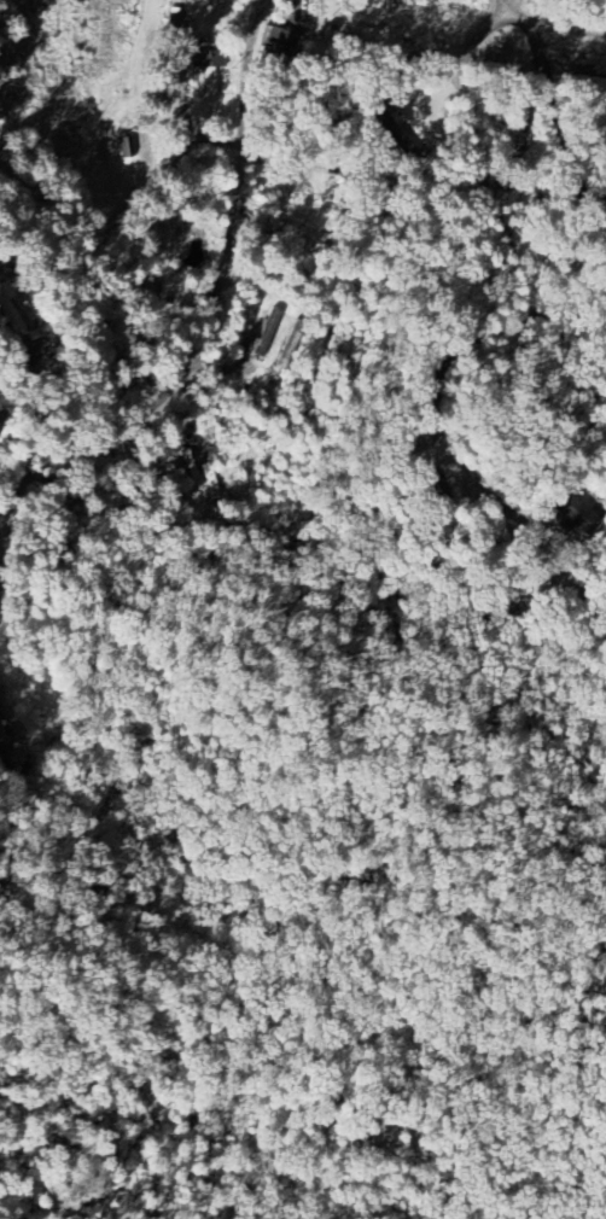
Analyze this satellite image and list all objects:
road: (260, 1)
road: (550, 25)
building: (275, 40)
building: (208, 84)
building: (396, 128)
road: (509, 273)
building: (148, 288)
road: (70, 294)
road: (211, 297)
building: (281, 345)

